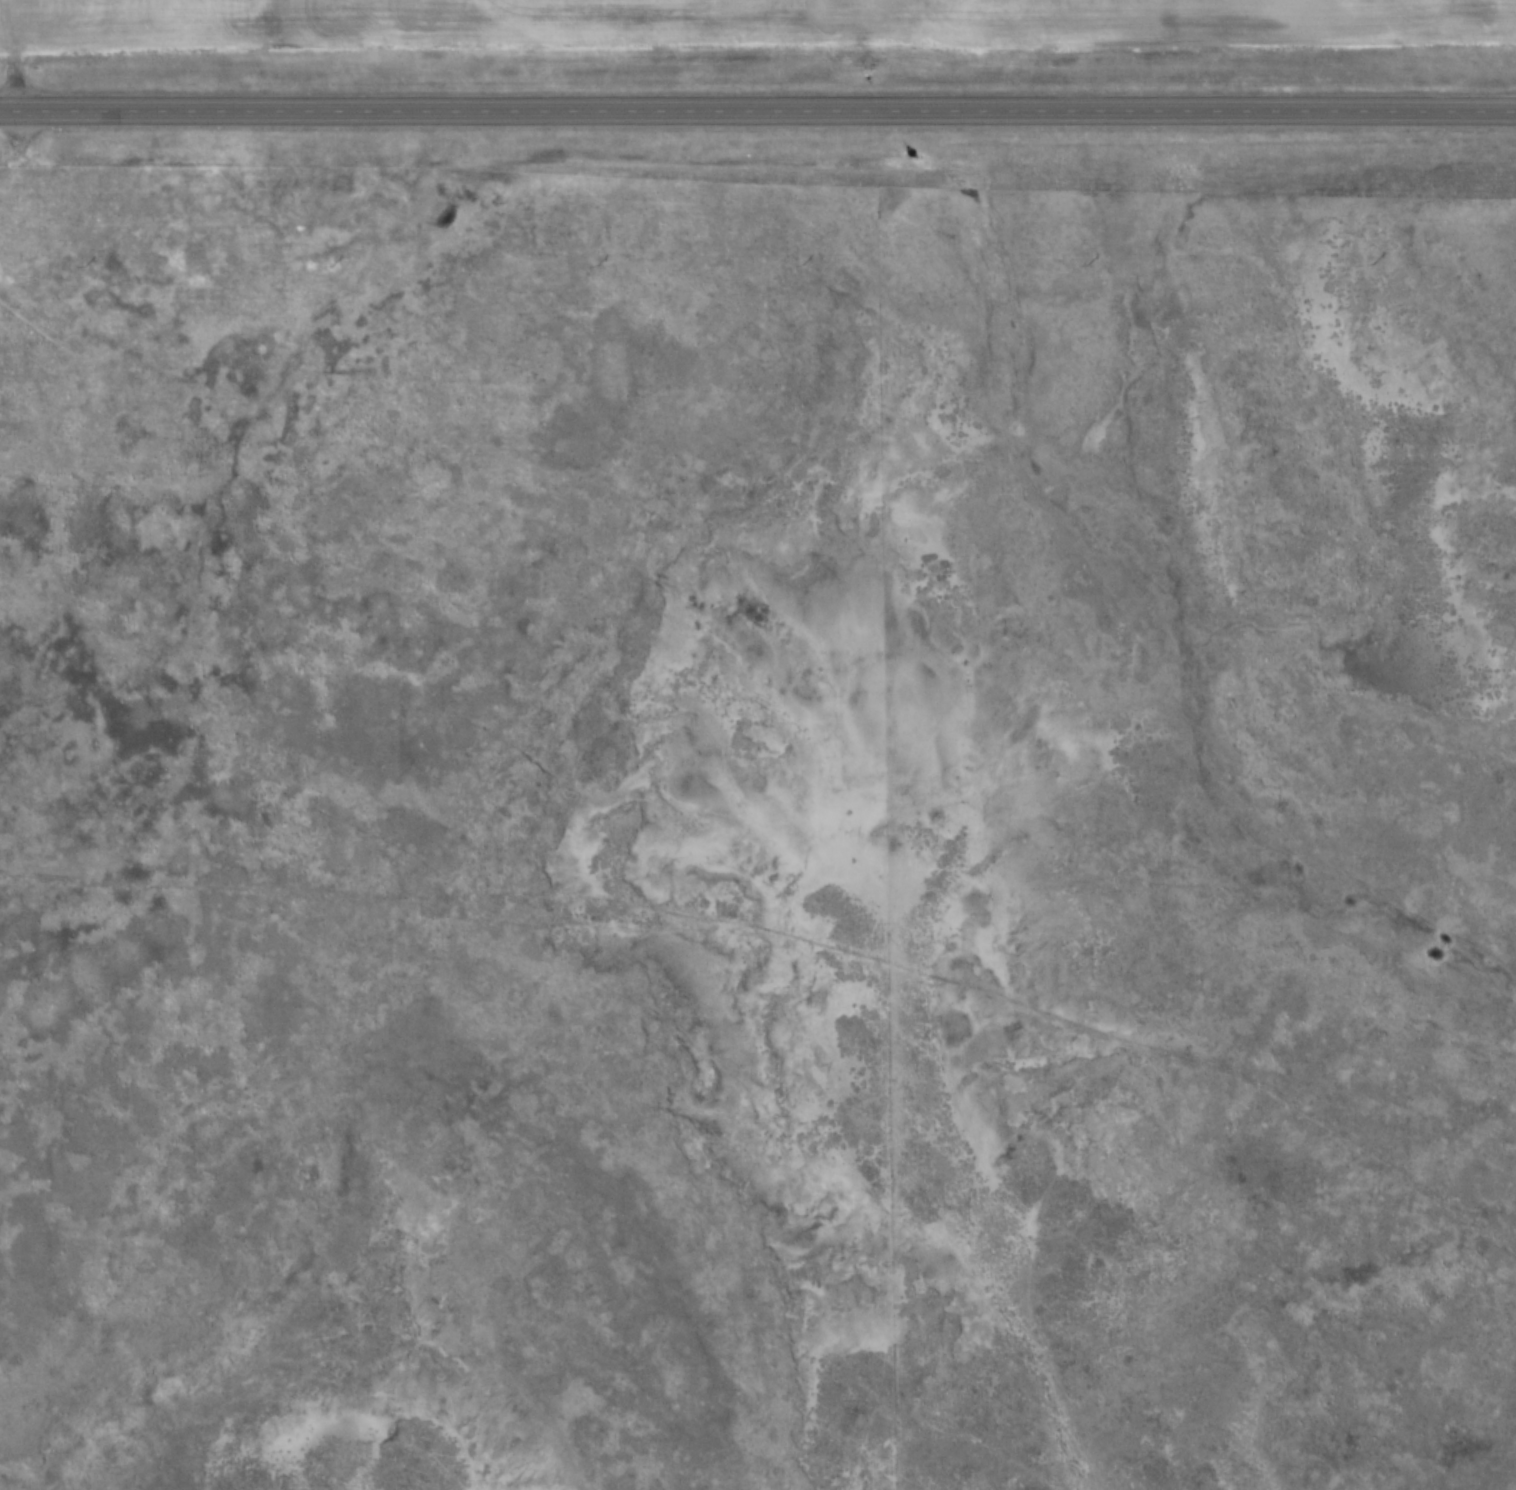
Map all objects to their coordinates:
road: (758, 119)

